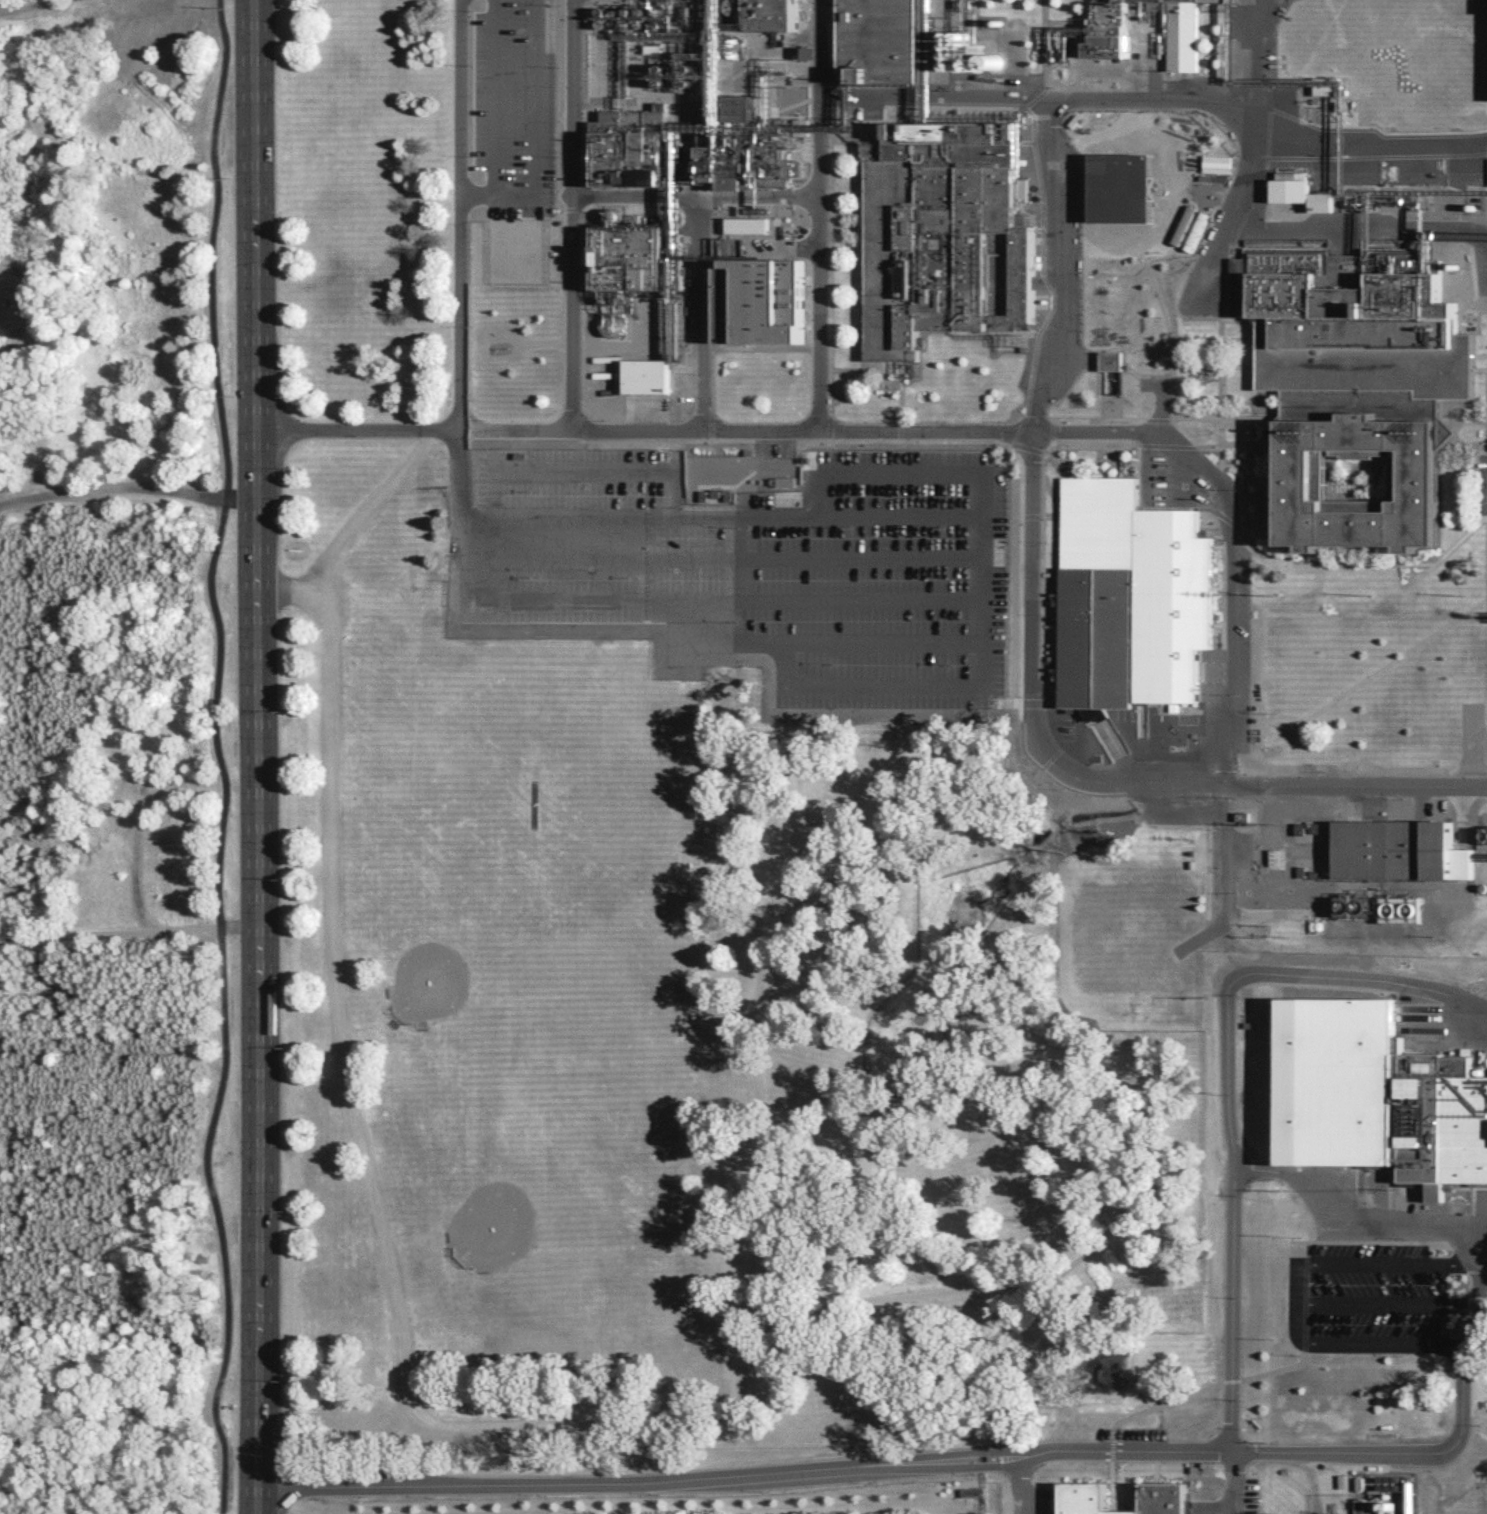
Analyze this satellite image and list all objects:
road: (34, 8)
building: (1148, 30)
building: (701, 39)
building: (883, 39)
road: (1046, 93)
road: (493, 98)
road: (1161, 102)
road: (1030, 111)
road: (1047, 120)
road: (534, 132)
building: (637, 149)
building: (733, 156)
building: (1298, 191)
road: (696, 193)
road: (1237, 199)
road: (568, 210)
road: (571, 213)
road: (819, 213)
road: (460, 214)
road: (1358, 224)
building: (747, 225)
road: (846, 226)
building: (944, 234)
building: (630, 258)
road: (1049, 265)
road: (1148, 265)
road: (827, 277)
building: (760, 300)
road: (701, 310)
road: (581, 311)
road: (1195, 336)
road: (729, 347)
building: (1111, 360)
road: (884, 362)
road: (1220, 367)
road: (849, 369)
building: (648, 376)
building: (1355, 387)
road: (1159, 404)
road: (1155, 418)
road: (1219, 419)
road: (1096, 420)
road: (710, 423)
road: (582, 424)
road: (829, 425)
road: (1025, 425)
road: (899, 430)
road: (1269, 430)
road: (1051, 431)
road: (797, 439)
road: (1055, 442)
road: (1165, 445)
road: (1027, 449)
road: (584, 468)
road: (820, 481)
road: (127, 492)
road: (367, 509)
road: (903, 515)
road: (1229, 515)
road: (1031, 516)
road: (726, 555)
road: (1311, 560)
road: (1020, 579)
building: (1129, 598)
road: (829, 602)
road: (671, 637)
road: (883, 644)
road: (257, 756)
road: (223, 758)
building: (1399, 852)
road: (128, 934)
park: (475, 943)
road: (332, 981)
road: (1357, 982)
road: (1118, 1085)
building: (1375, 1096)
park: (522, 1201)
road: (1225, 1215)
road: (1345, 1219)
road: (1296, 1279)
road: (760, 1293)
road: (1363, 1341)
road: (957, 1453)
road: (1235, 1479)
road: (1015, 1481)
building: (1162, 1499)
building: (1081, 1500)
building: (1360, 1506)

